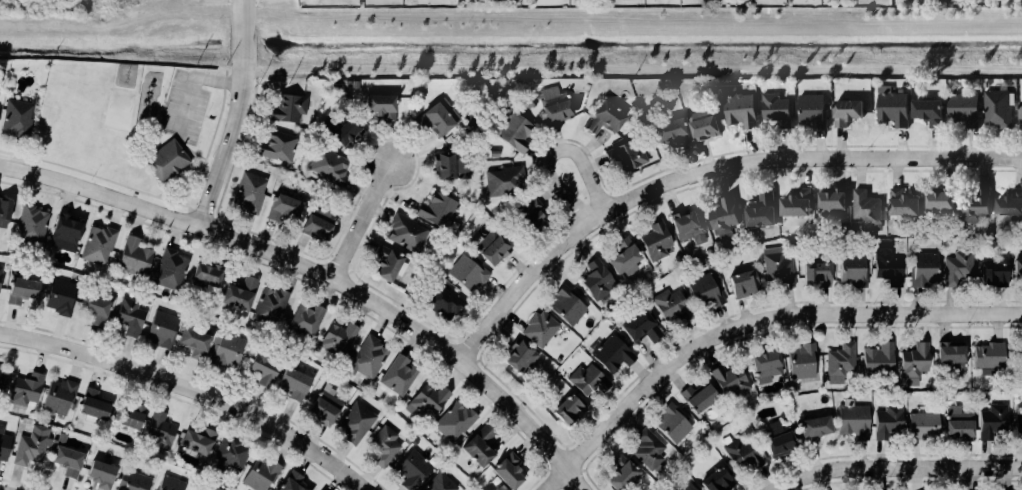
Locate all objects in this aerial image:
road: (221, 34)
road: (180, 71)
road: (217, 81)
road: (167, 99)
road: (186, 103)
building: (548, 105)
building: (773, 106)
building: (378, 107)
parking lot: (184, 108)
building: (737, 108)
building: (891, 108)
building: (286, 109)
building: (996, 109)
park: (117, 110)
building: (961, 111)
building: (810, 112)
building: (844, 112)
building: (926, 112)
building: (1019, 114)
road: (235, 116)
building: (436, 117)
building: (15, 119)
building: (602, 119)
park: (207, 121)
building: (702, 124)
building: (666, 130)
park: (102, 132)
building: (512, 132)
building: (343, 133)
road: (180, 144)
building: (274, 147)
park: (211, 150)
road: (554, 151)
building: (492, 153)
building: (623, 156)
building: (165, 161)
building: (326, 165)
building: (449, 166)
road: (705, 170)
road: (179, 179)
building: (501, 181)
park: (189, 183)
road: (184, 193)
building: (246, 194)
road: (161, 199)
building: (938, 199)
building: (830, 203)
building: (795, 204)
building: (900, 204)
building: (1009, 204)
building: (974, 207)
building: (281, 209)
building: (435, 210)
building: (865, 210)
building: (760, 211)
building: (3, 212)
building: (529, 216)
building: (722, 217)
road: (362, 219)
building: (29, 225)
building: (315, 225)
building: (686, 228)
building: (64, 230)
building: (404, 233)
building: (654, 242)
building: (96, 245)
building: (491, 247)
building: (132, 258)
building: (622, 258)
building: (385, 263)
building: (775, 268)
building: (888, 268)
building: (169, 269)
building: (850, 270)
building: (921, 270)
building: (956, 270)
building: (1019, 270)
building: (991, 272)
building: (0, 274)
building: (466, 274)
building: (205, 275)
road: (322, 275)
building: (814, 276)
building: (595, 280)
building: (741, 284)
building: (20, 291)
building: (703, 292)
building: (237, 294)
building: (59, 298)
building: (441, 301)
building: (269, 304)
building: (565, 305)
building: (669, 306)
building: (91, 308)
building: (128, 317)
building: (304, 319)
road: (752, 322)
building: (639, 328)
building: (538, 329)
building: (160, 330)
building: (334, 341)
building: (191, 342)
building: (224, 350)
building: (610, 355)
building: (949, 356)
building: (367, 357)
building: (1015, 357)
building: (518, 358)
building: (988, 359)
building: (838, 360)
building: (876, 360)
building: (800, 361)
building: (912, 361)
building: (764, 366)
building: (261, 370)
building: (1, 374)
building: (395, 376)
building: (728, 379)
building: (587, 380)
building: (292, 384)
building: (24, 389)
road: (191, 391)
building: (57, 396)
building: (696, 397)
building: (424, 401)
building: (90, 404)
building: (323, 409)
building: (567, 412)
building: (128, 416)
building: (851, 419)
building: (452, 420)
building: (886, 421)
building: (991, 421)
building: (670, 423)
building: (353, 424)
building: (956, 425)
building: (1018, 425)
building: (921, 426)
building: (812, 427)
building: (0, 428)
building: (159, 431)
building: (776, 440)
building: (195, 441)
building: (29, 446)
building: (3, 447)
building: (381, 447)
building: (475, 447)
building: (647, 449)
building: (228, 454)
building: (741, 454)
building: (65, 461)
road: (895, 468)
building: (410, 470)
building: (506, 471)
building: (259, 473)
building: (618, 473)
building: (98, 474)
building: (715, 480)
building: (132, 481)
building: (289, 481)
building: (438, 482)
building: (168, 483)
building: (681, 487)
building: (211, 488)

